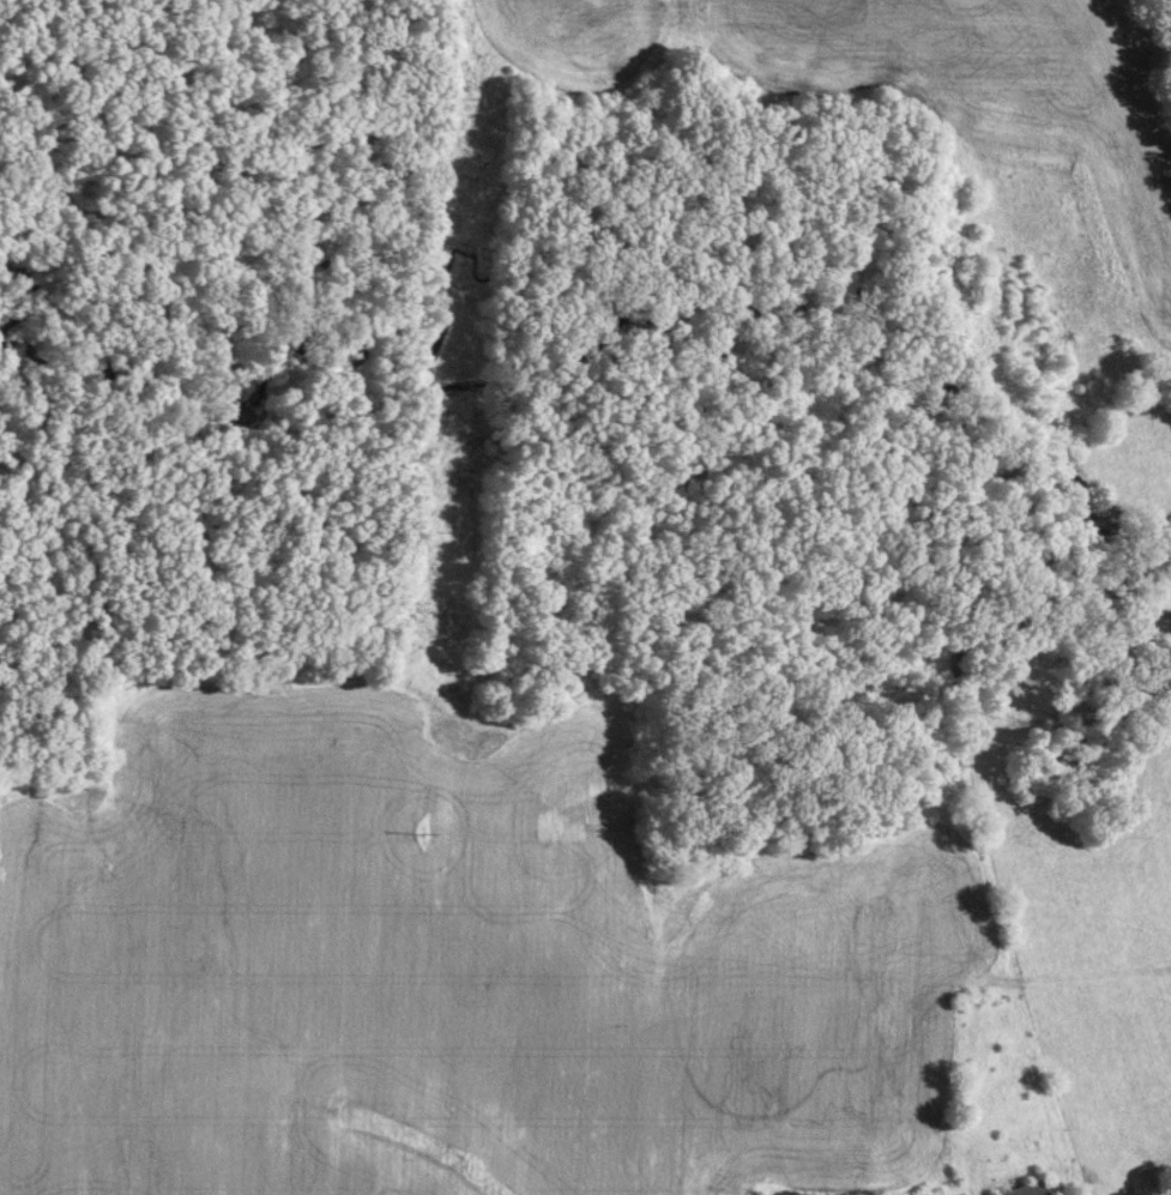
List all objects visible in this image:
building: (1028, 1190)

